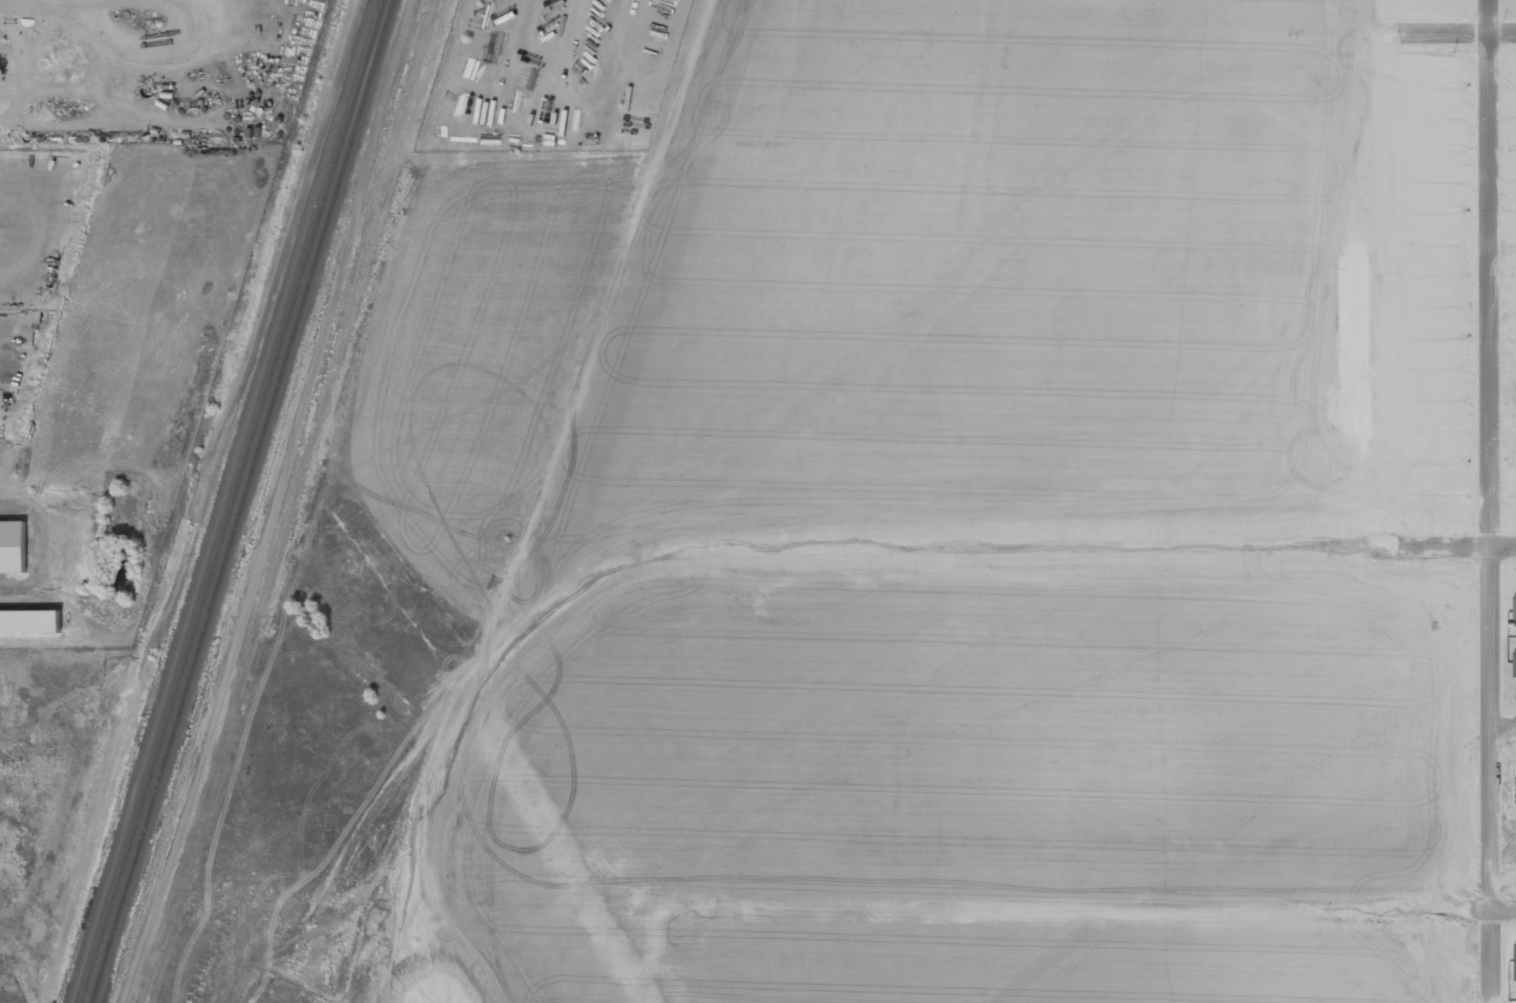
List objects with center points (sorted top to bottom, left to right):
road: (1502, 31)
road: (1490, 456)
railway: (225, 501)
railway: (234, 501)
railway: (244, 501)
building: (13, 546)
road: (1503, 548)
building: (30, 621)
road: (1504, 727)
road: (1505, 911)

